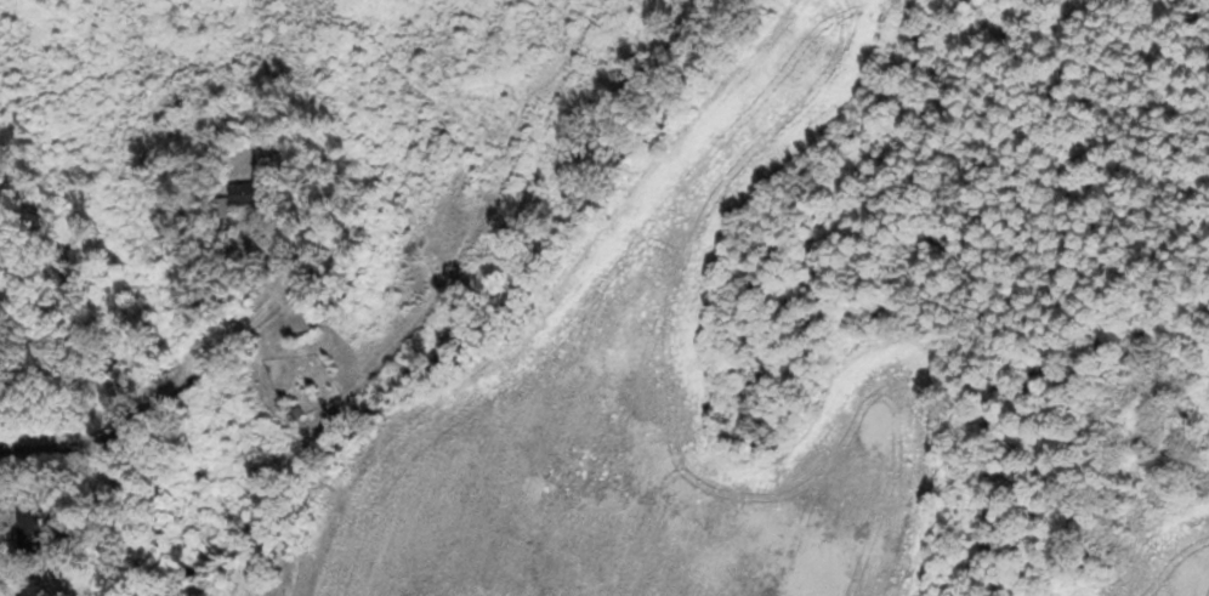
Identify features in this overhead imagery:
building: (249, 193)
road: (159, 405)
building: (27, 518)
road: (1135, 533)
park: (237, 564)
building: (30, 590)

